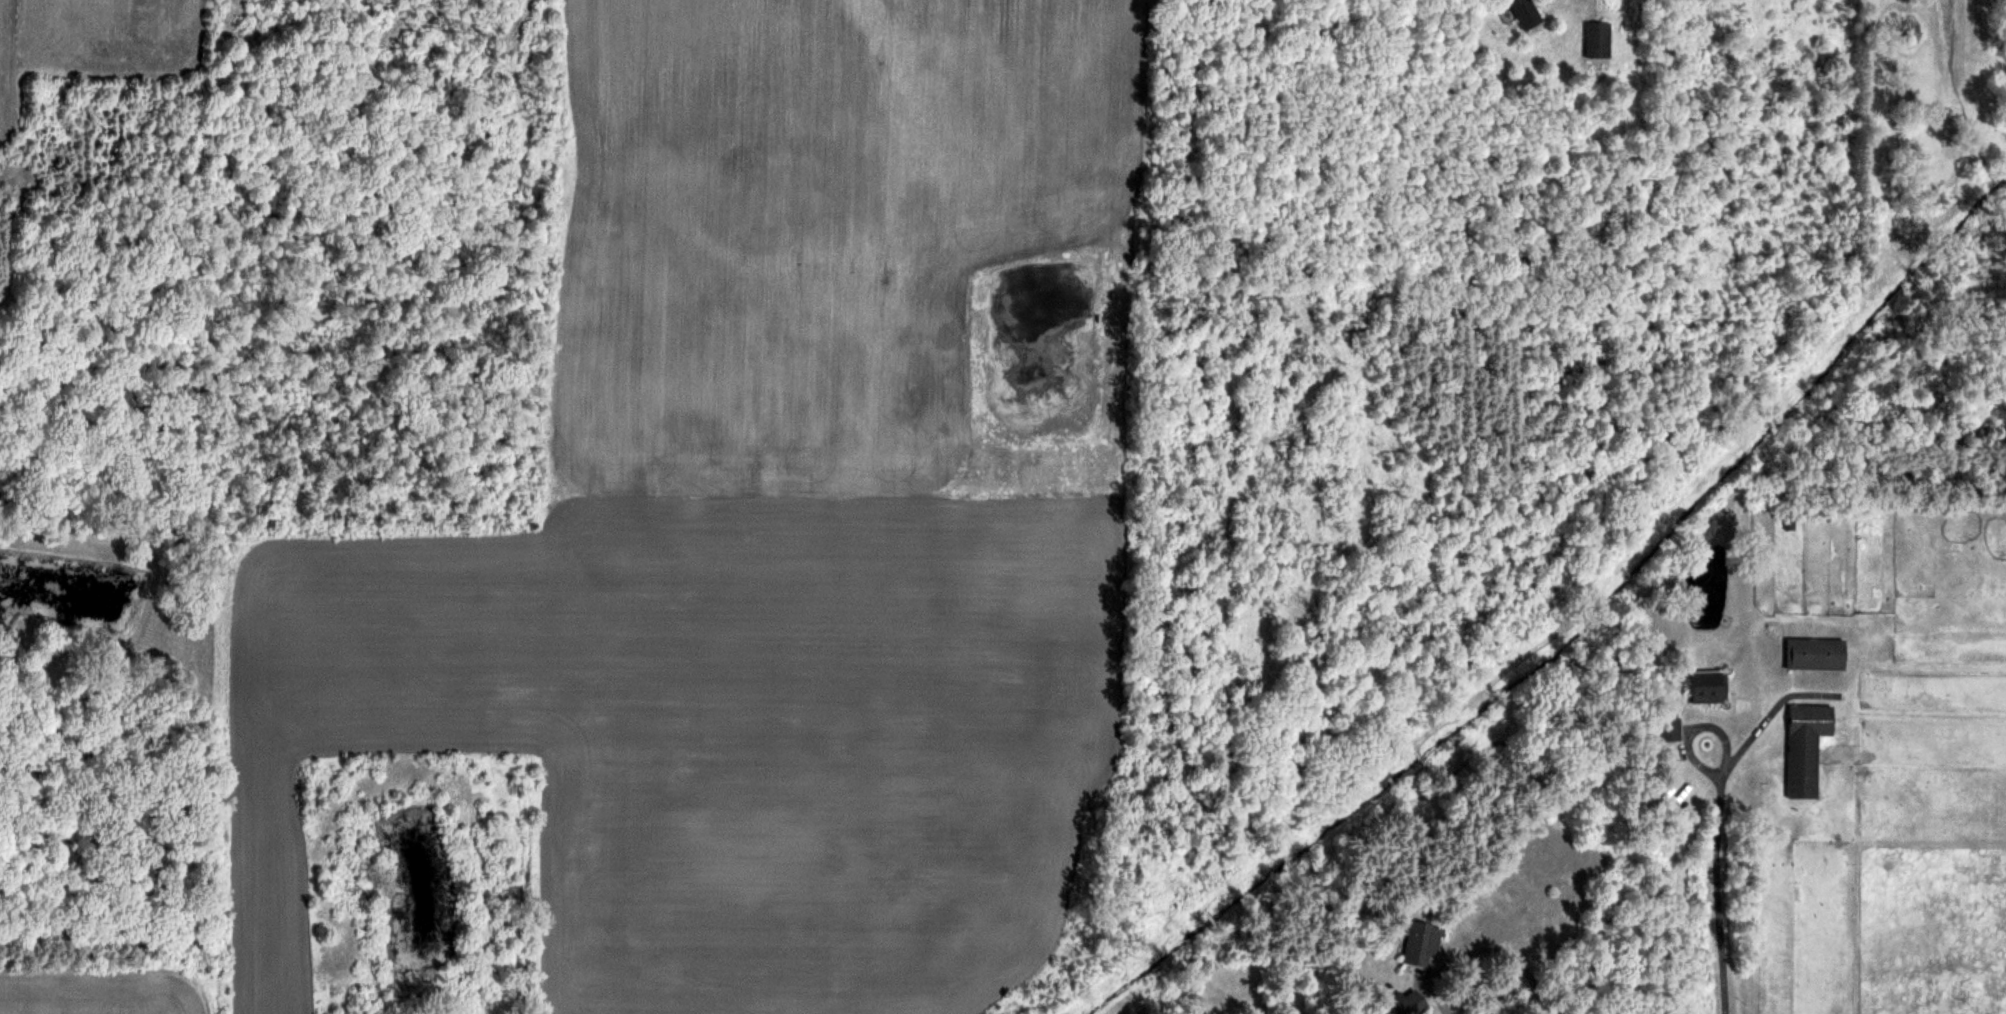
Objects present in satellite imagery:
building: (1525, 12)
building: (1598, 39)
building: (1815, 653)
building: (1709, 688)
road: (1693, 727)
building: (1670, 729)
building: (1806, 747)
building: (1778, 868)
road: (1715, 895)
building: (1420, 944)
road: (1489, 946)
building: (1409, 1003)

